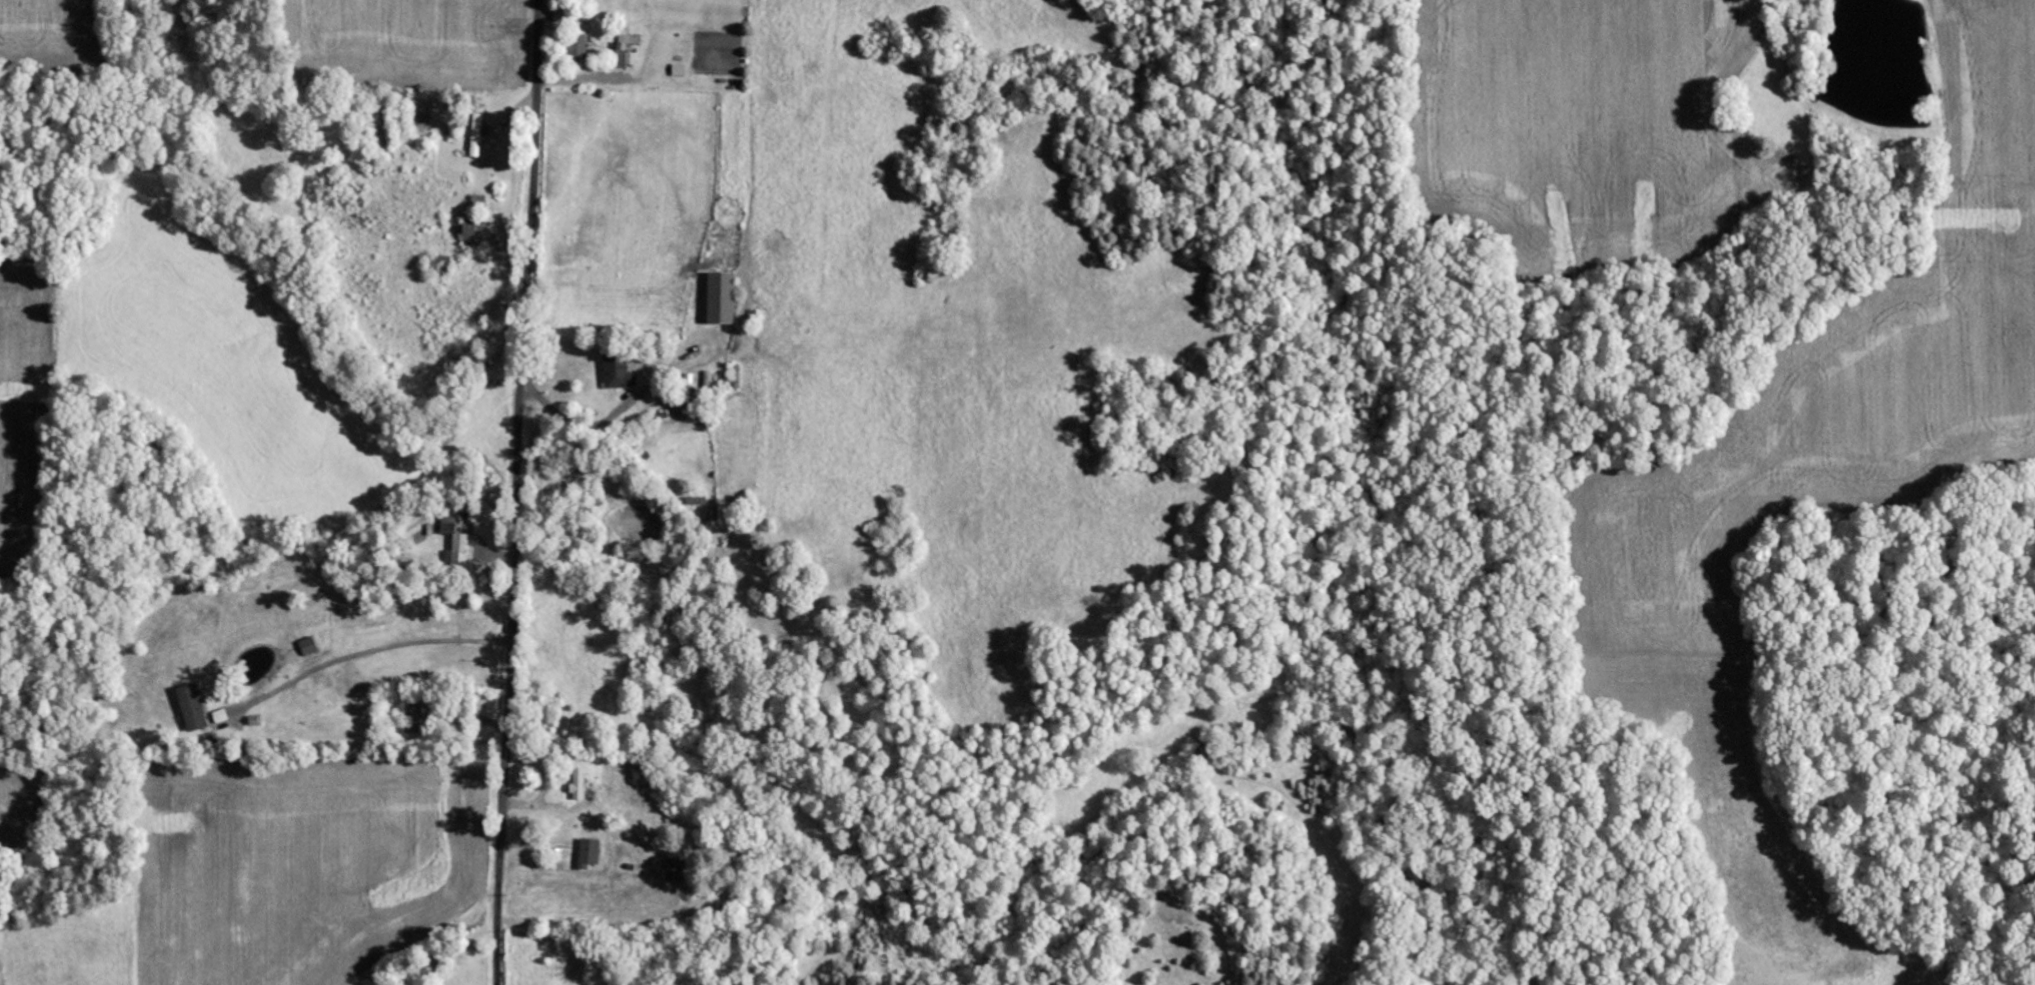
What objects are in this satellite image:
building: (562, 17)
building: (581, 47)
building: (627, 50)
building: (479, 134)
building: (475, 236)
building: (723, 298)
building: (620, 370)
road: (516, 492)
building: (449, 526)
building: (458, 549)
building: (310, 646)
building: (194, 707)
building: (414, 718)
building: (580, 785)
building: (590, 854)
building: (678, 871)

